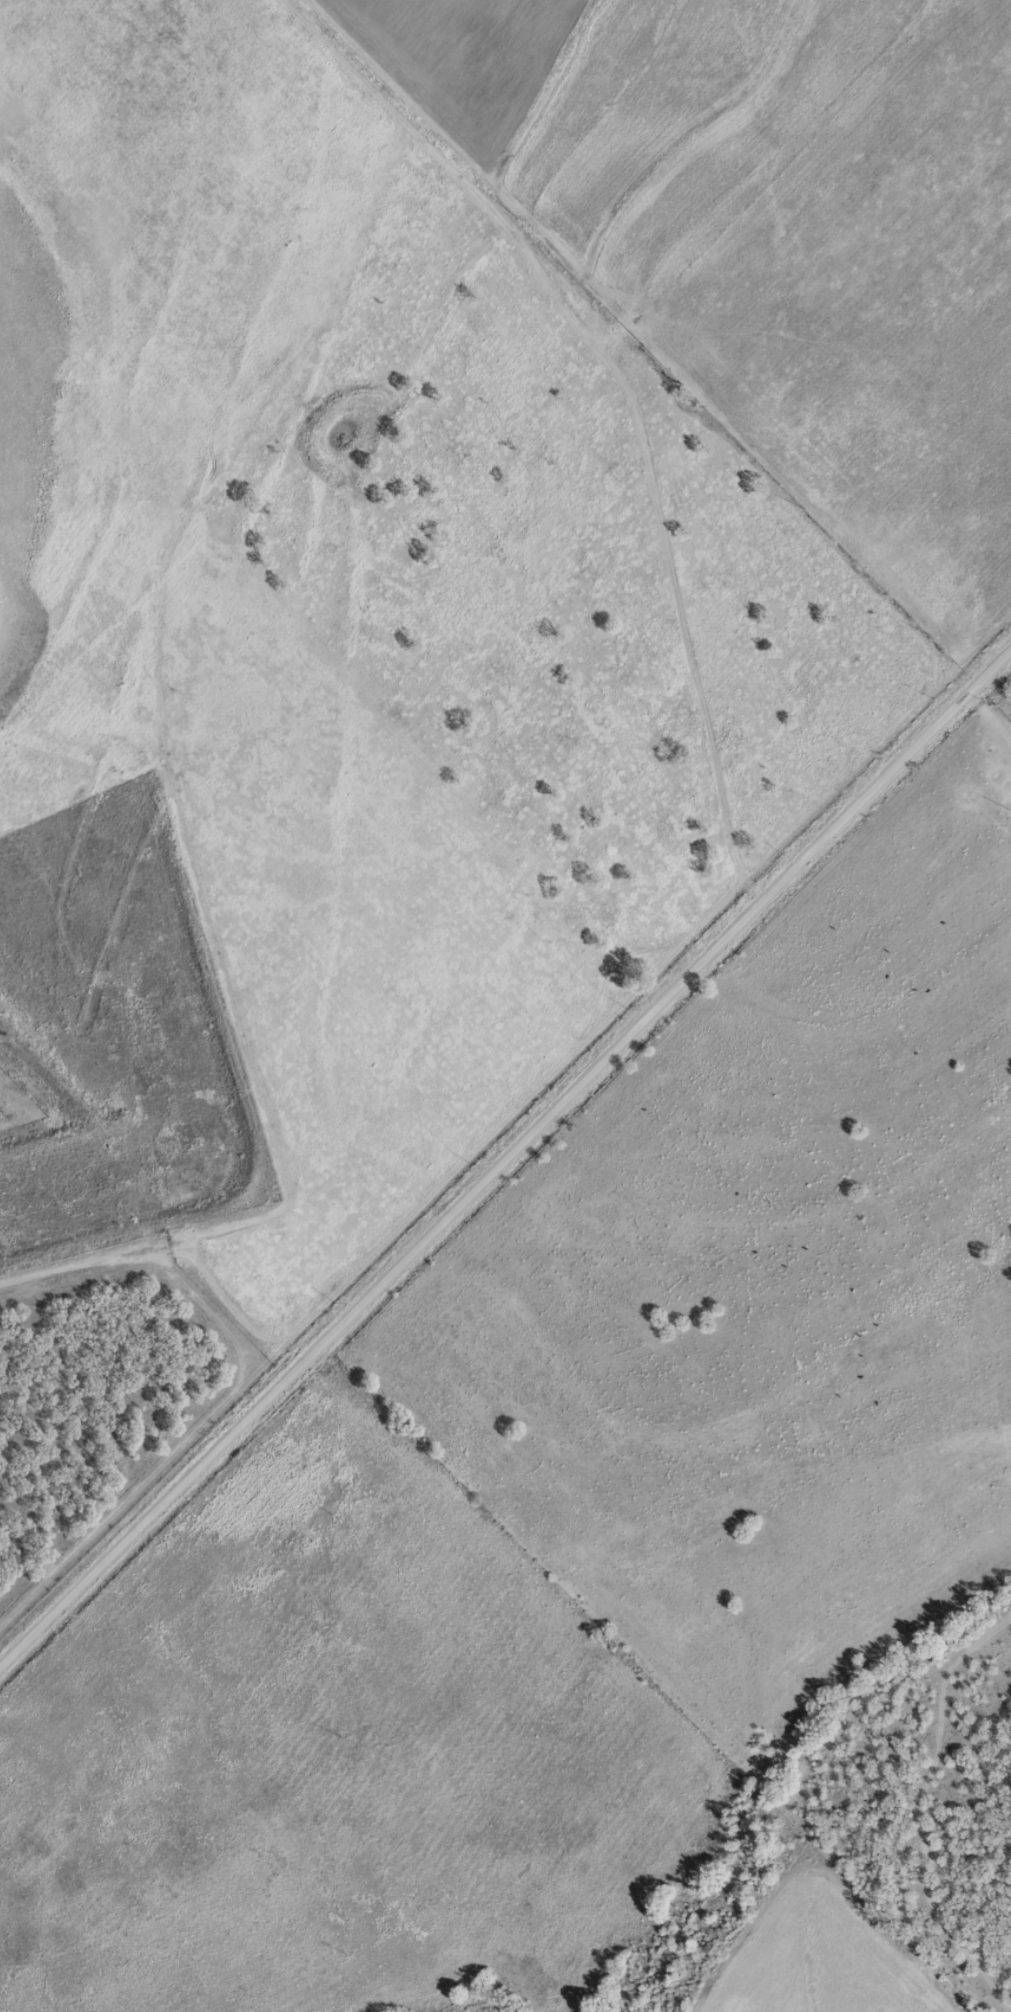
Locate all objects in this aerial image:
road: (505, 1157)

